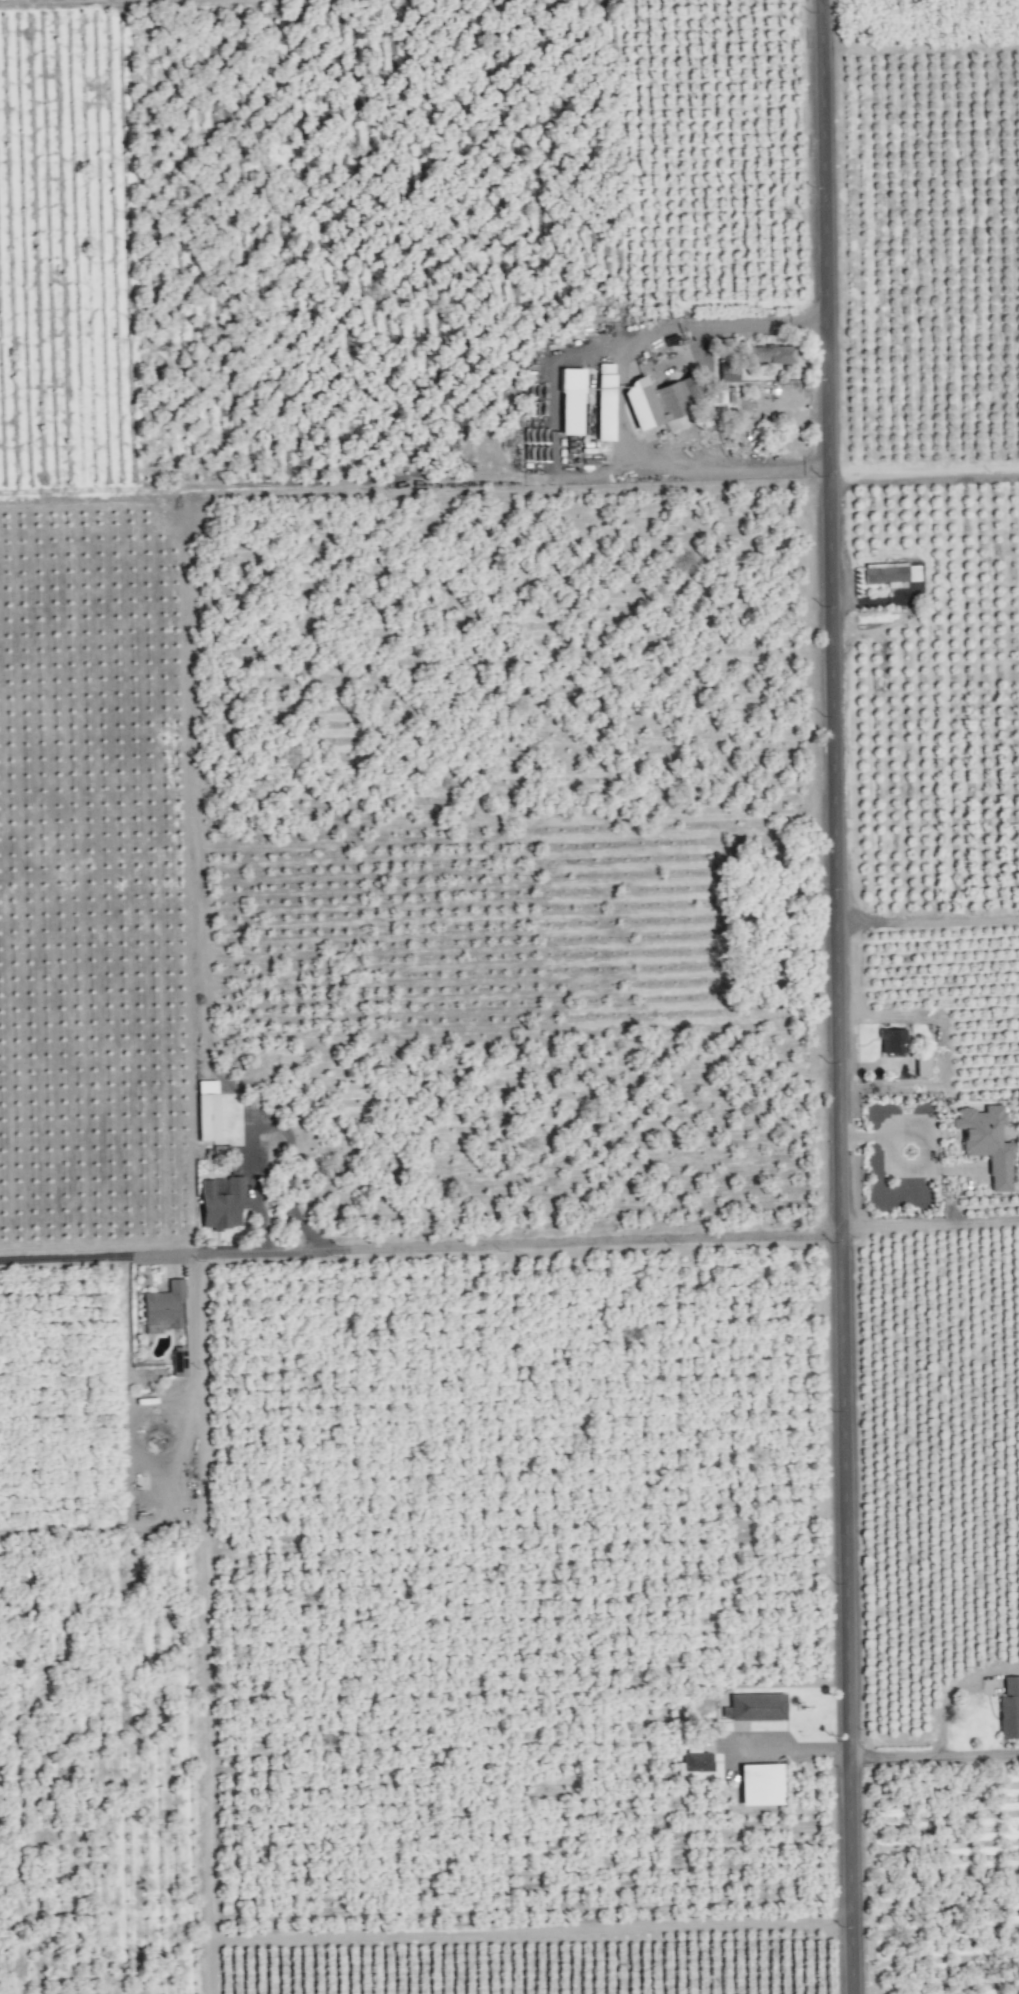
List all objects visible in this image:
building: (771, 353)
building: (728, 370)
building: (659, 399)
building: (571, 400)
building: (605, 401)
road: (620, 401)
road: (928, 478)
road: (841, 996)
building: (892, 1040)
road: (940, 1049)
building: (922, 1065)
building: (206, 1109)
road: (923, 1138)
building: (987, 1141)
road: (254, 1183)
building: (221, 1201)
road: (932, 1221)
road: (423, 1248)
building: (164, 1306)
building: (178, 1362)
building: (754, 1706)
building: (1009, 1707)
road: (784, 1750)
road: (936, 1752)
building: (698, 1760)
building: (760, 1783)

